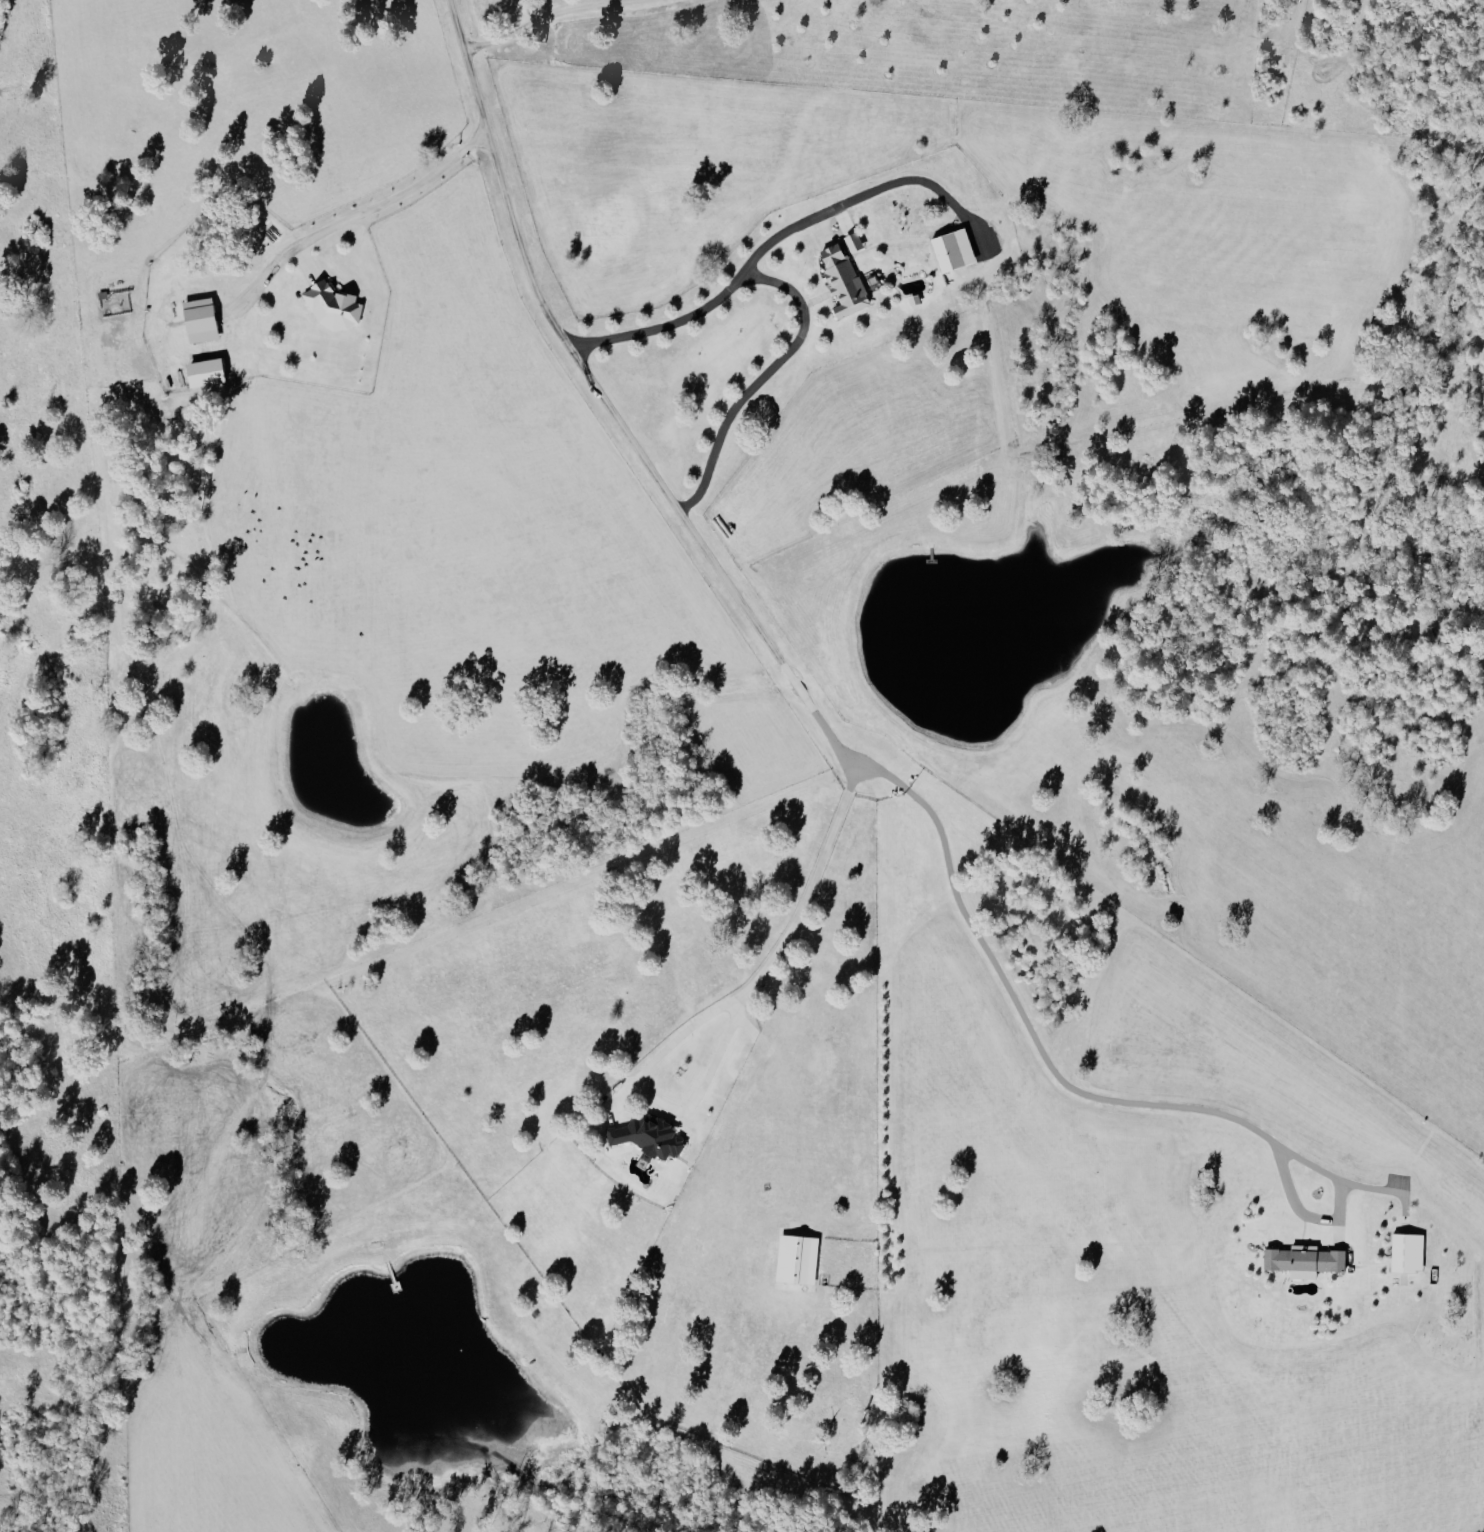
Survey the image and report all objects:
road: (574, 15)
road: (866, 191)
road: (371, 216)
building: (954, 249)
building: (844, 280)
road: (799, 298)
building: (334, 305)
building: (201, 319)
building: (207, 372)
road: (823, 721)
road: (724, 1013)
building: (649, 1135)
building: (1409, 1252)
building: (1307, 1261)
building: (797, 1263)

